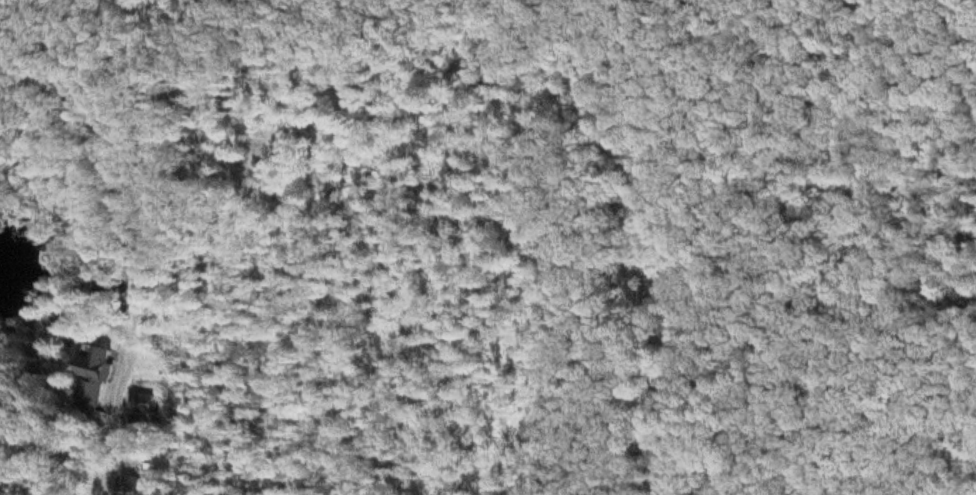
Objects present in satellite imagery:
road: (155, 290)
building: (100, 380)
building: (150, 405)
building: (142, 487)

